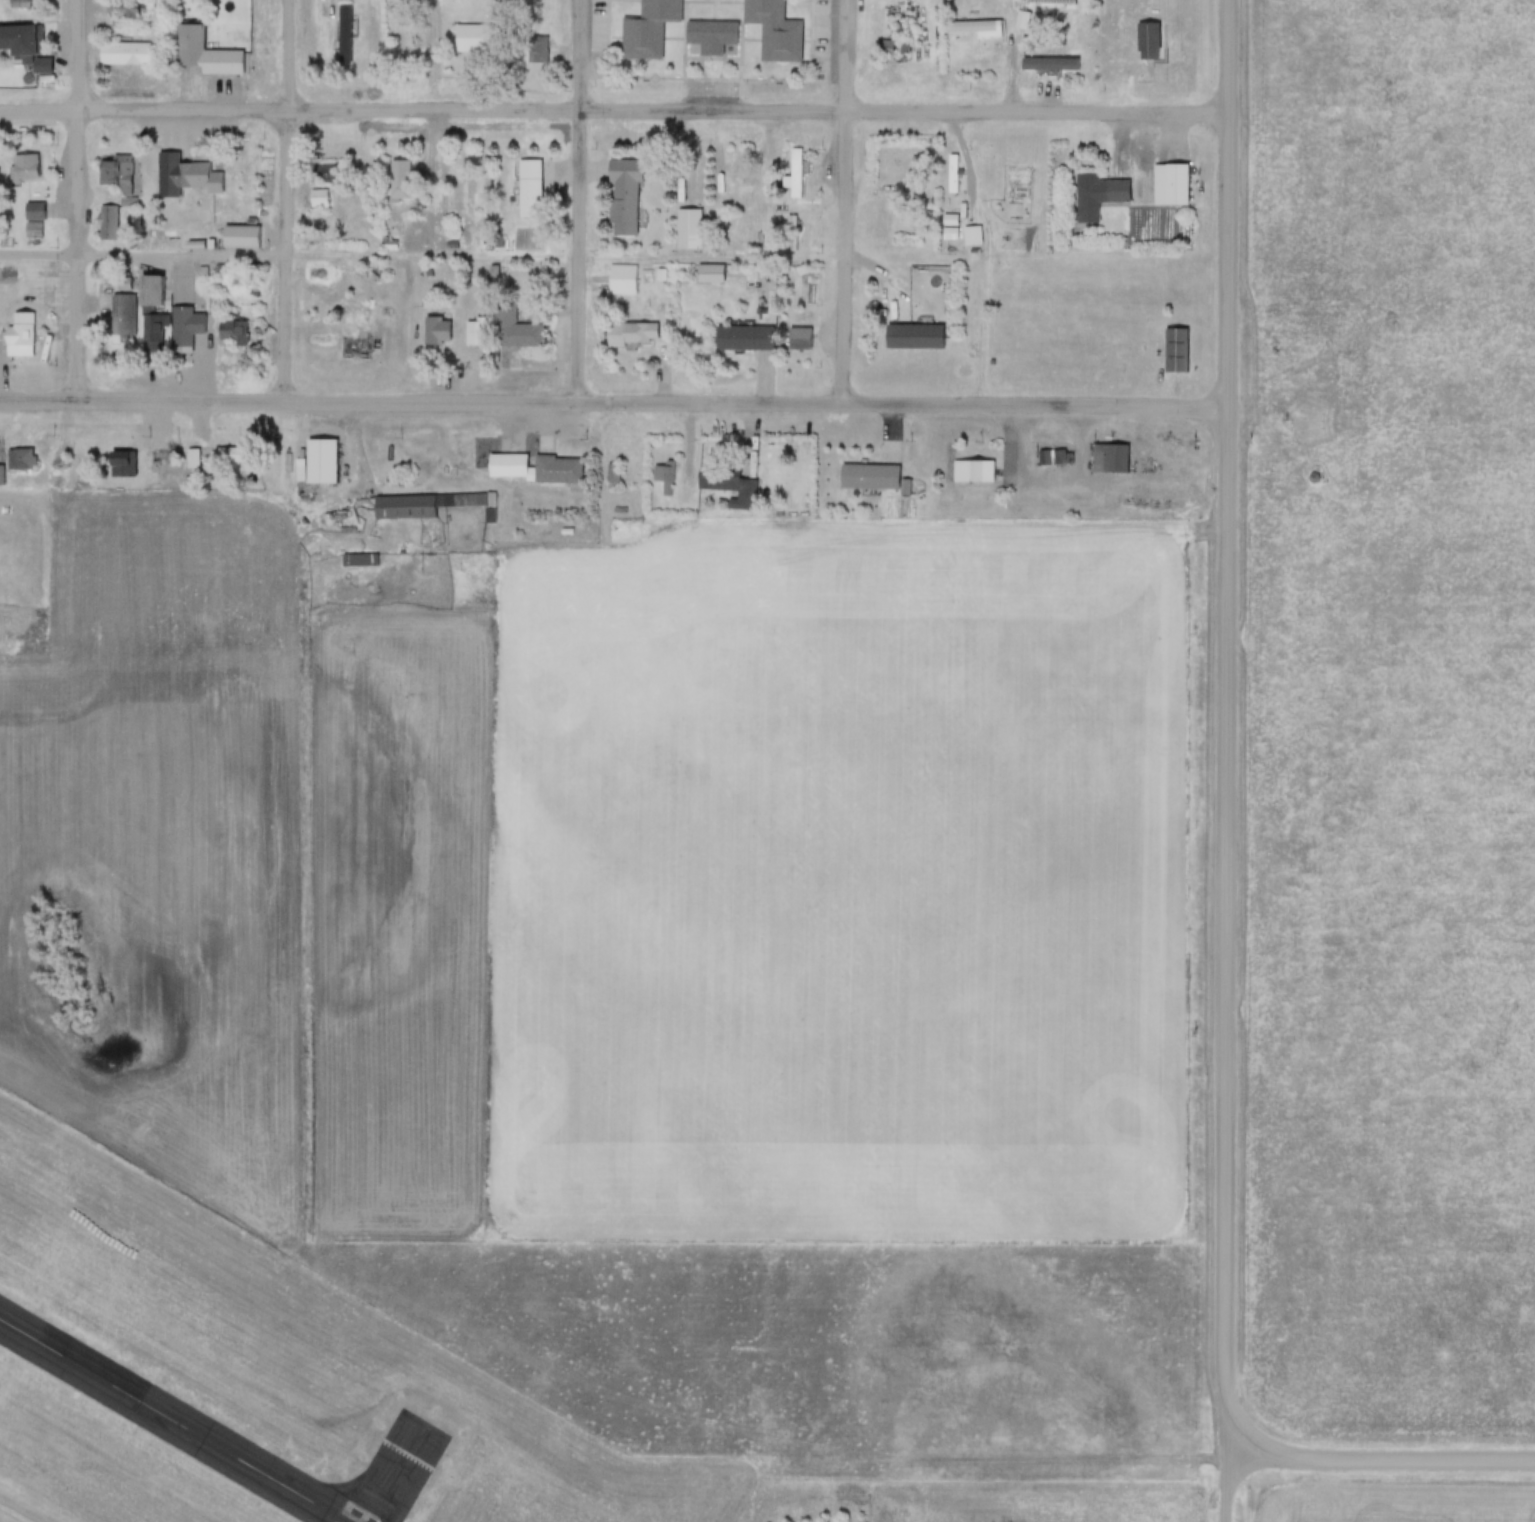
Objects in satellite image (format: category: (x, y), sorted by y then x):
building: (345, 0)
building: (17, 5)
building: (547, 12)
building: (496, 13)
building: (126, 15)
building: (1020, 23)
building: (646, 30)
building: (969, 30)
building: (772, 36)
building: (710, 39)
building: (474, 42)
building: (20, 43)
building: (184, 49)
building: (889, 51)
building: (123, 57)
building: (41, 70)
road: (1017, 73)
road: (655, 106)
road: (40, 110)
building: (21, 171)
building: (114, 174)
building: (949, 177)
building: (182, 180)
building: (397, 182)
building: (1174, 189)
building: (527, 192)
road: (81, 199)
road: (288, 199)
road: (581, 199)
building: (622, 199)
road: (848, 200)
building: (1096, 200)
building: (102, 227)
building: (786, 228)
building: (685, 233)
building: (28, 234)
road: (423, 253)
building: (707, 277)
building: (616, 283)
building: (148, 311)
building: (119, 318)
building: (185, 330)
building: (18, 334)
building: (435, 334)
building: (472, 336)
building: (520, 338)
building: (629, 338)
building: (742, 342)
building: (798, 342)
building: (351, 349)
building: (1168, 352)
road: (42, 399)
road: (655, 400)
building: (231, 458)
building: (1049, 461)
building: (188, 462)
building: (1103, 462)
building: (17, 463)
building: (117, 468)
building: (317, 469)
building: (531, 472)
building: (970, 475)
building: (606, 479)
building: (660, 481)
building: (868, 481)
building: (737, 497)
building: (403, 512)
road: (1227, 729)
airport: (257, 1384)
airport runway: (165, 1425)
road: (1383, 1459)
road: (1231, 1490)

